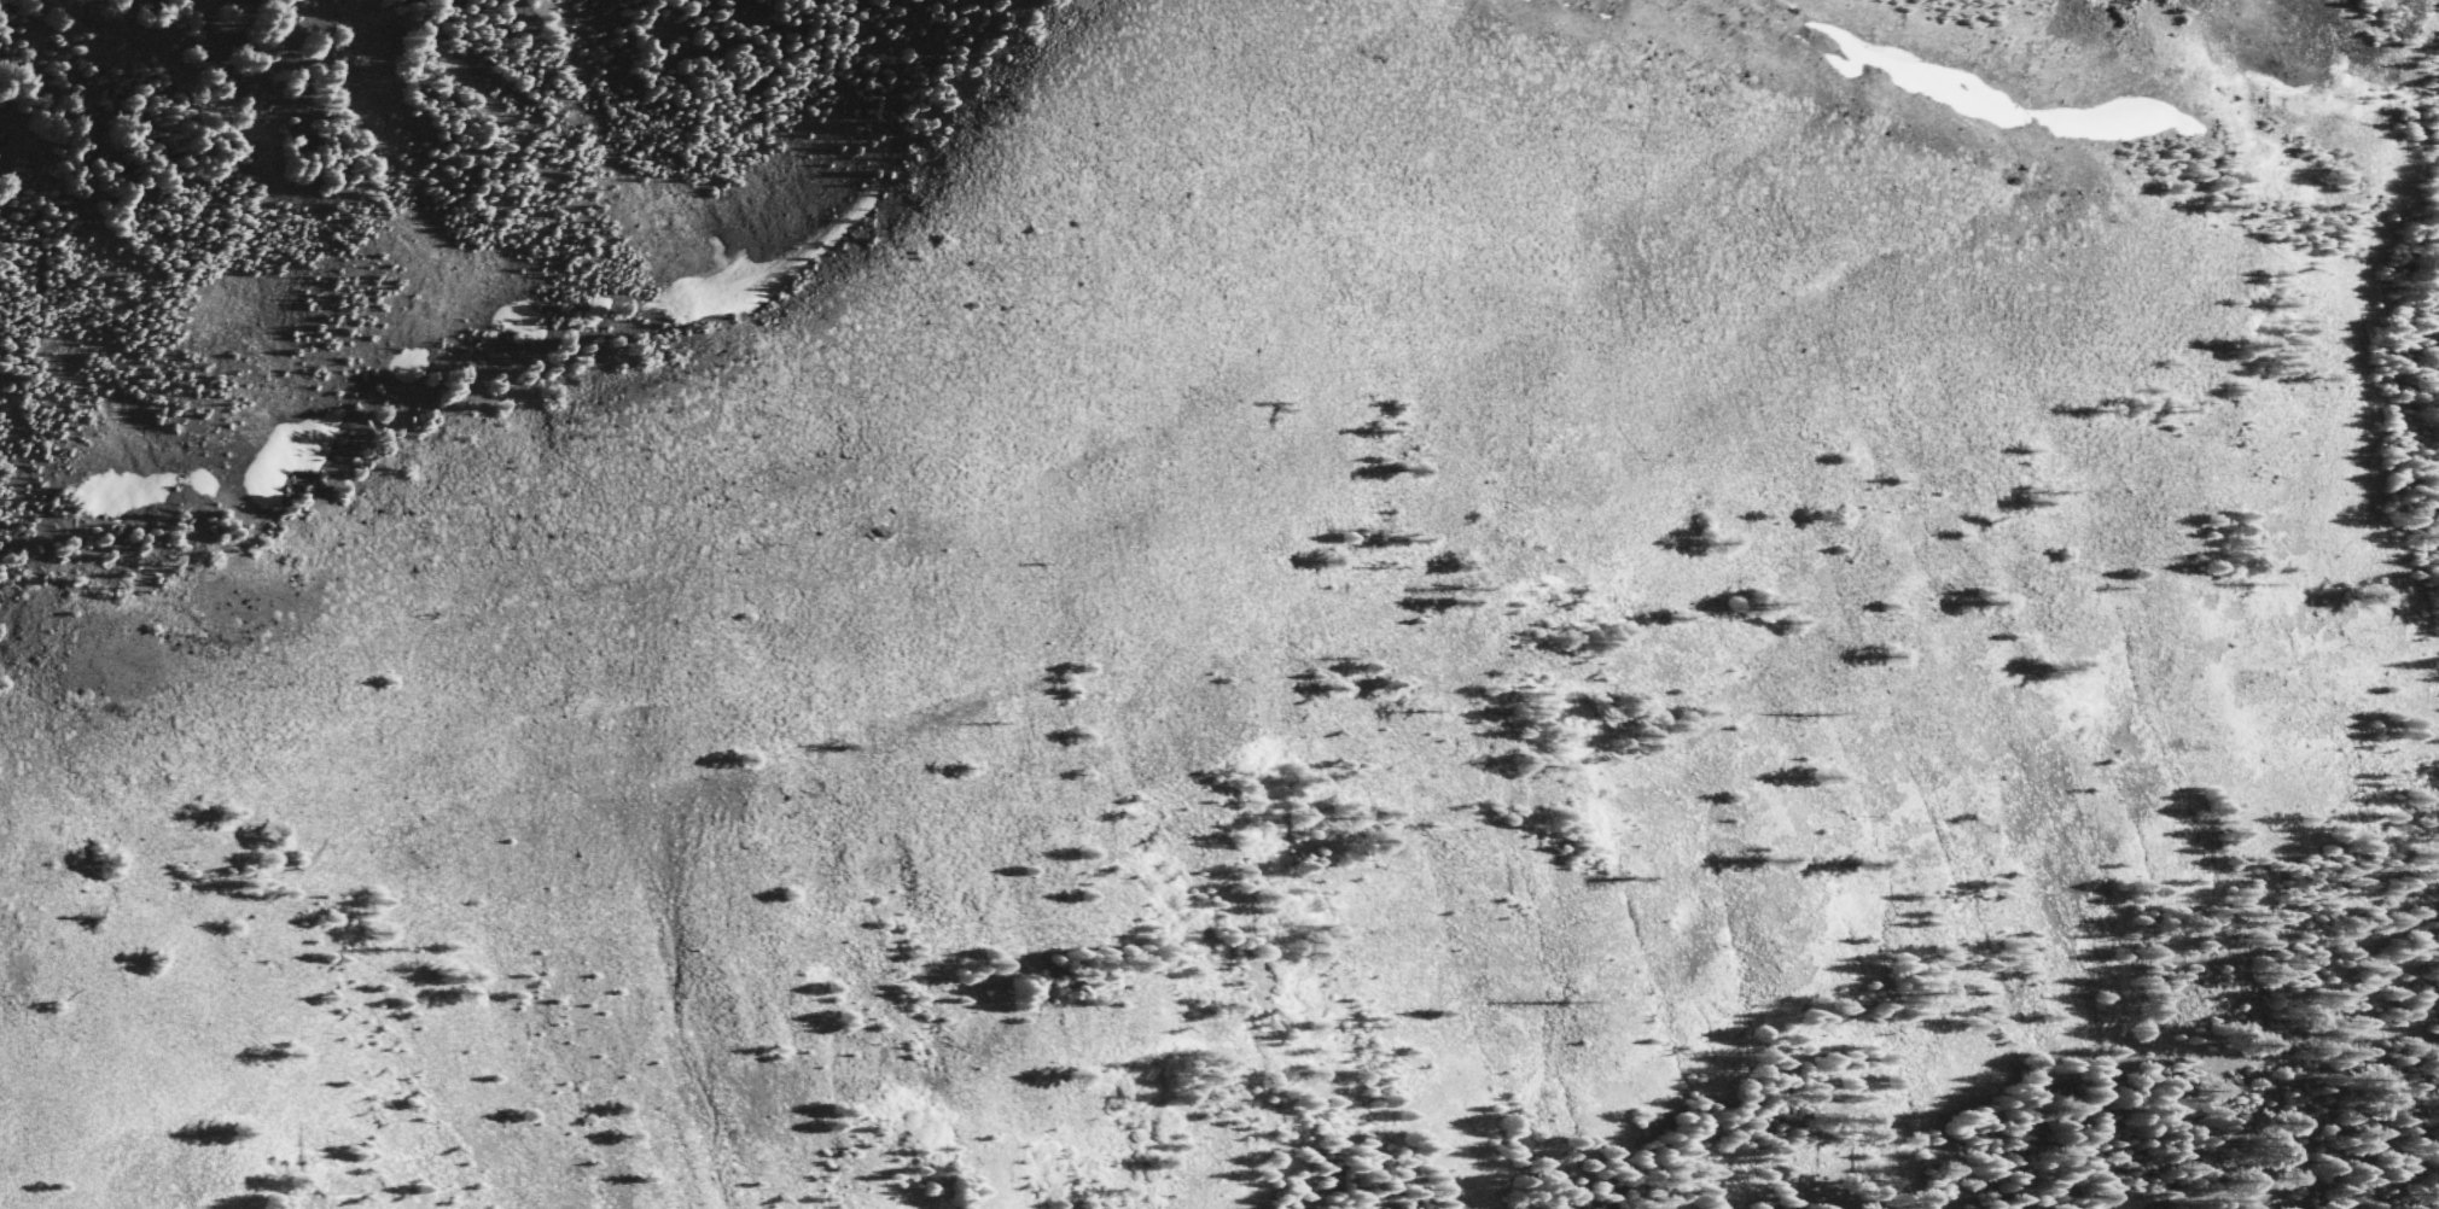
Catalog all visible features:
road: (2295, 1181)

